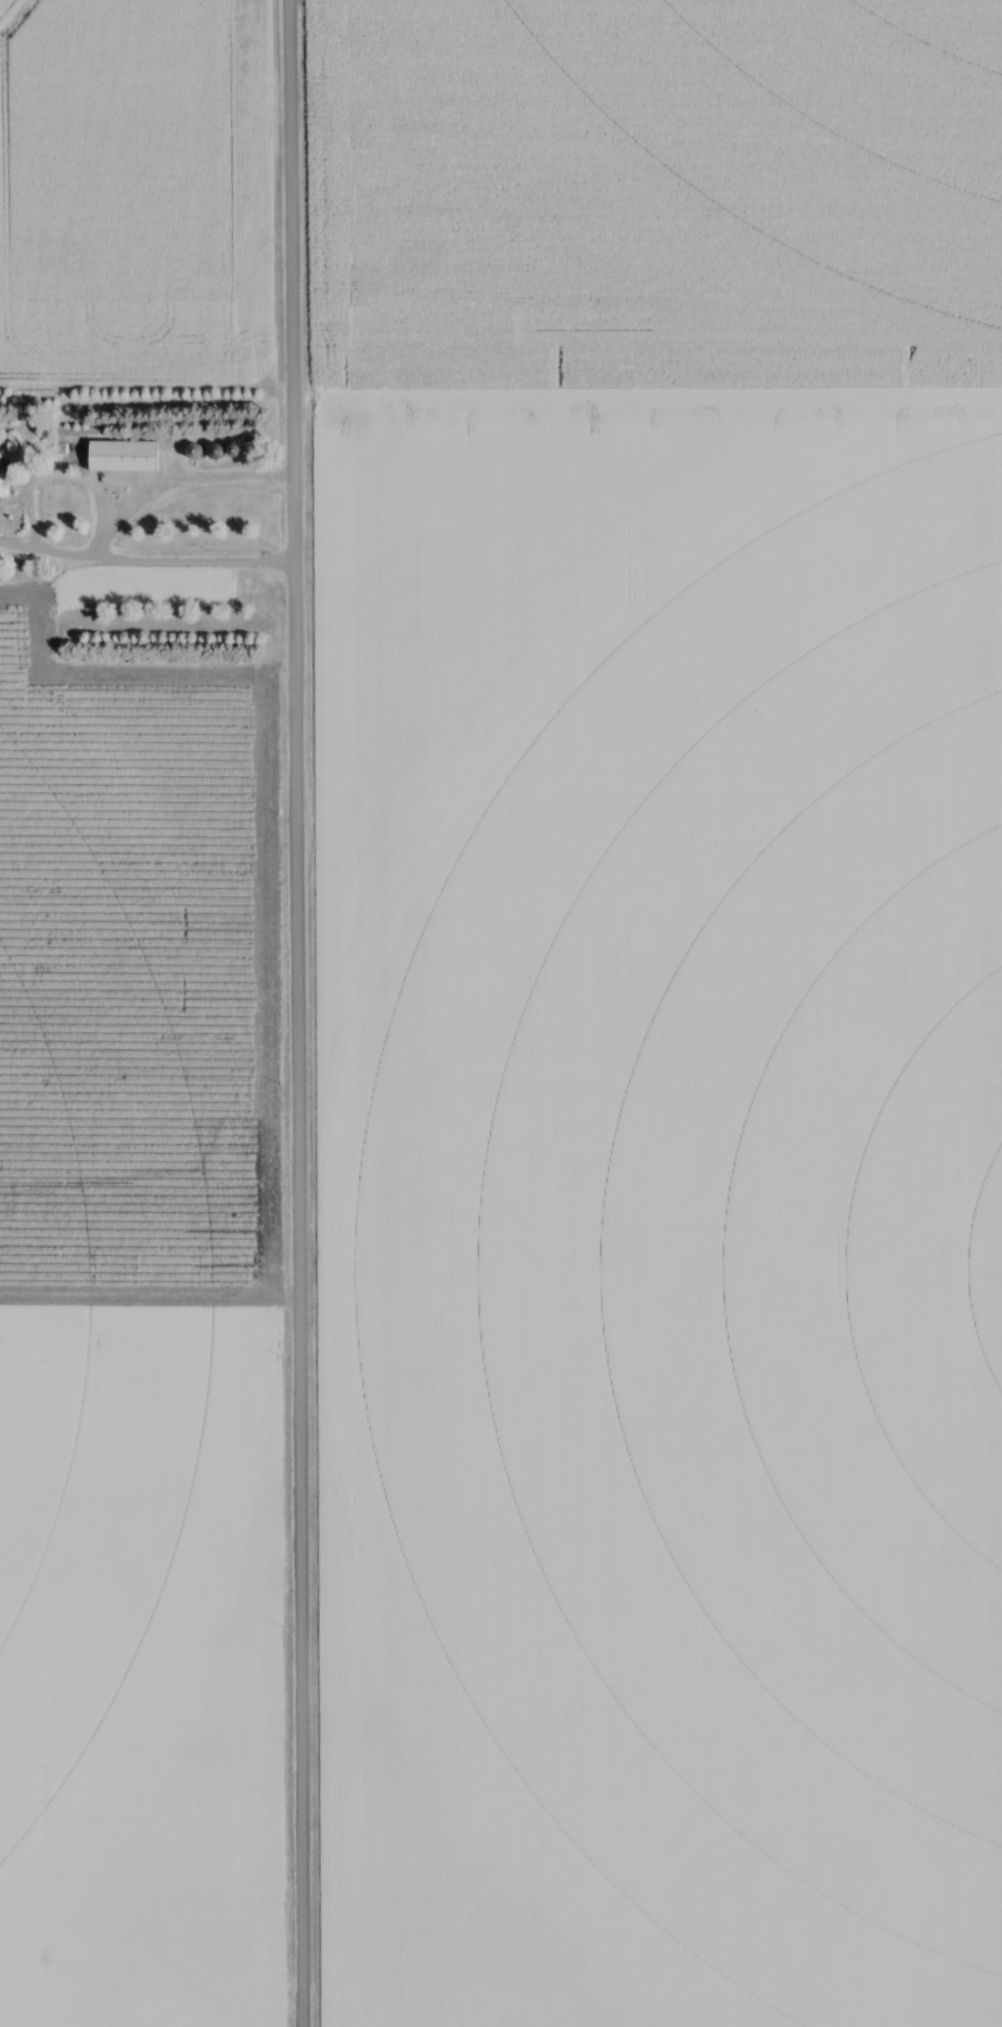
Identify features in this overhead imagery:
building: (196, 451)
building: (218, 451)
building: (127, 456)
building: (4, 480)
road: (146, 567)
road: (296, 1013)

